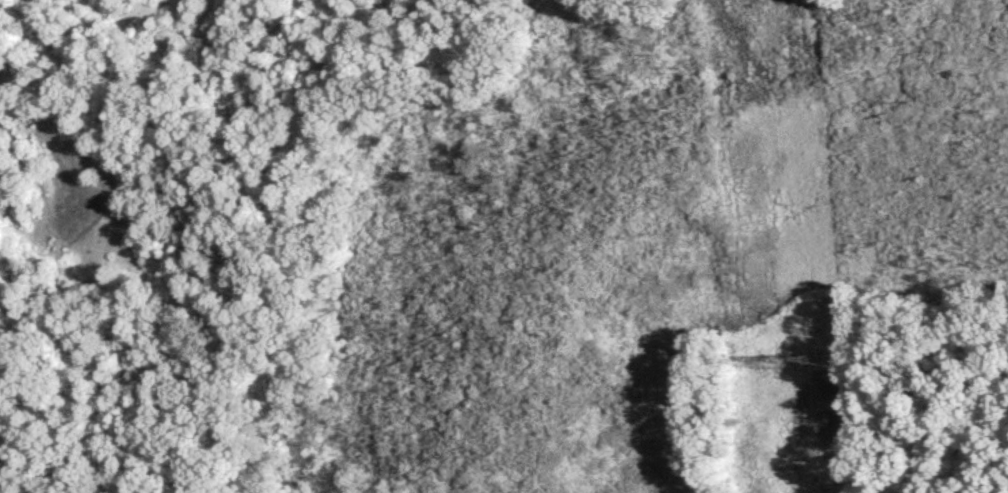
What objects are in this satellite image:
power tower: (817, 361)
power tower: (775, 363)

